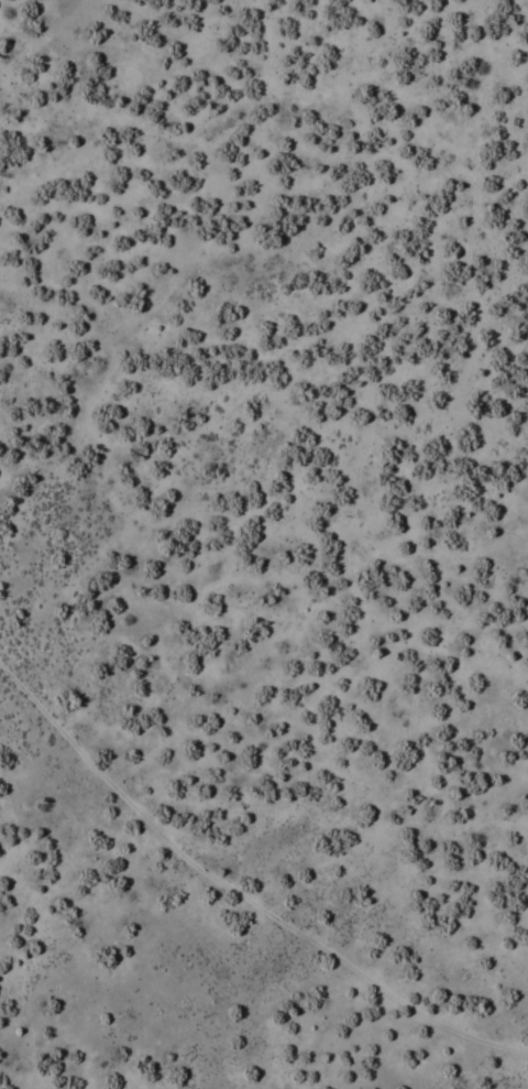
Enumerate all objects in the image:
road: (238, 901)

